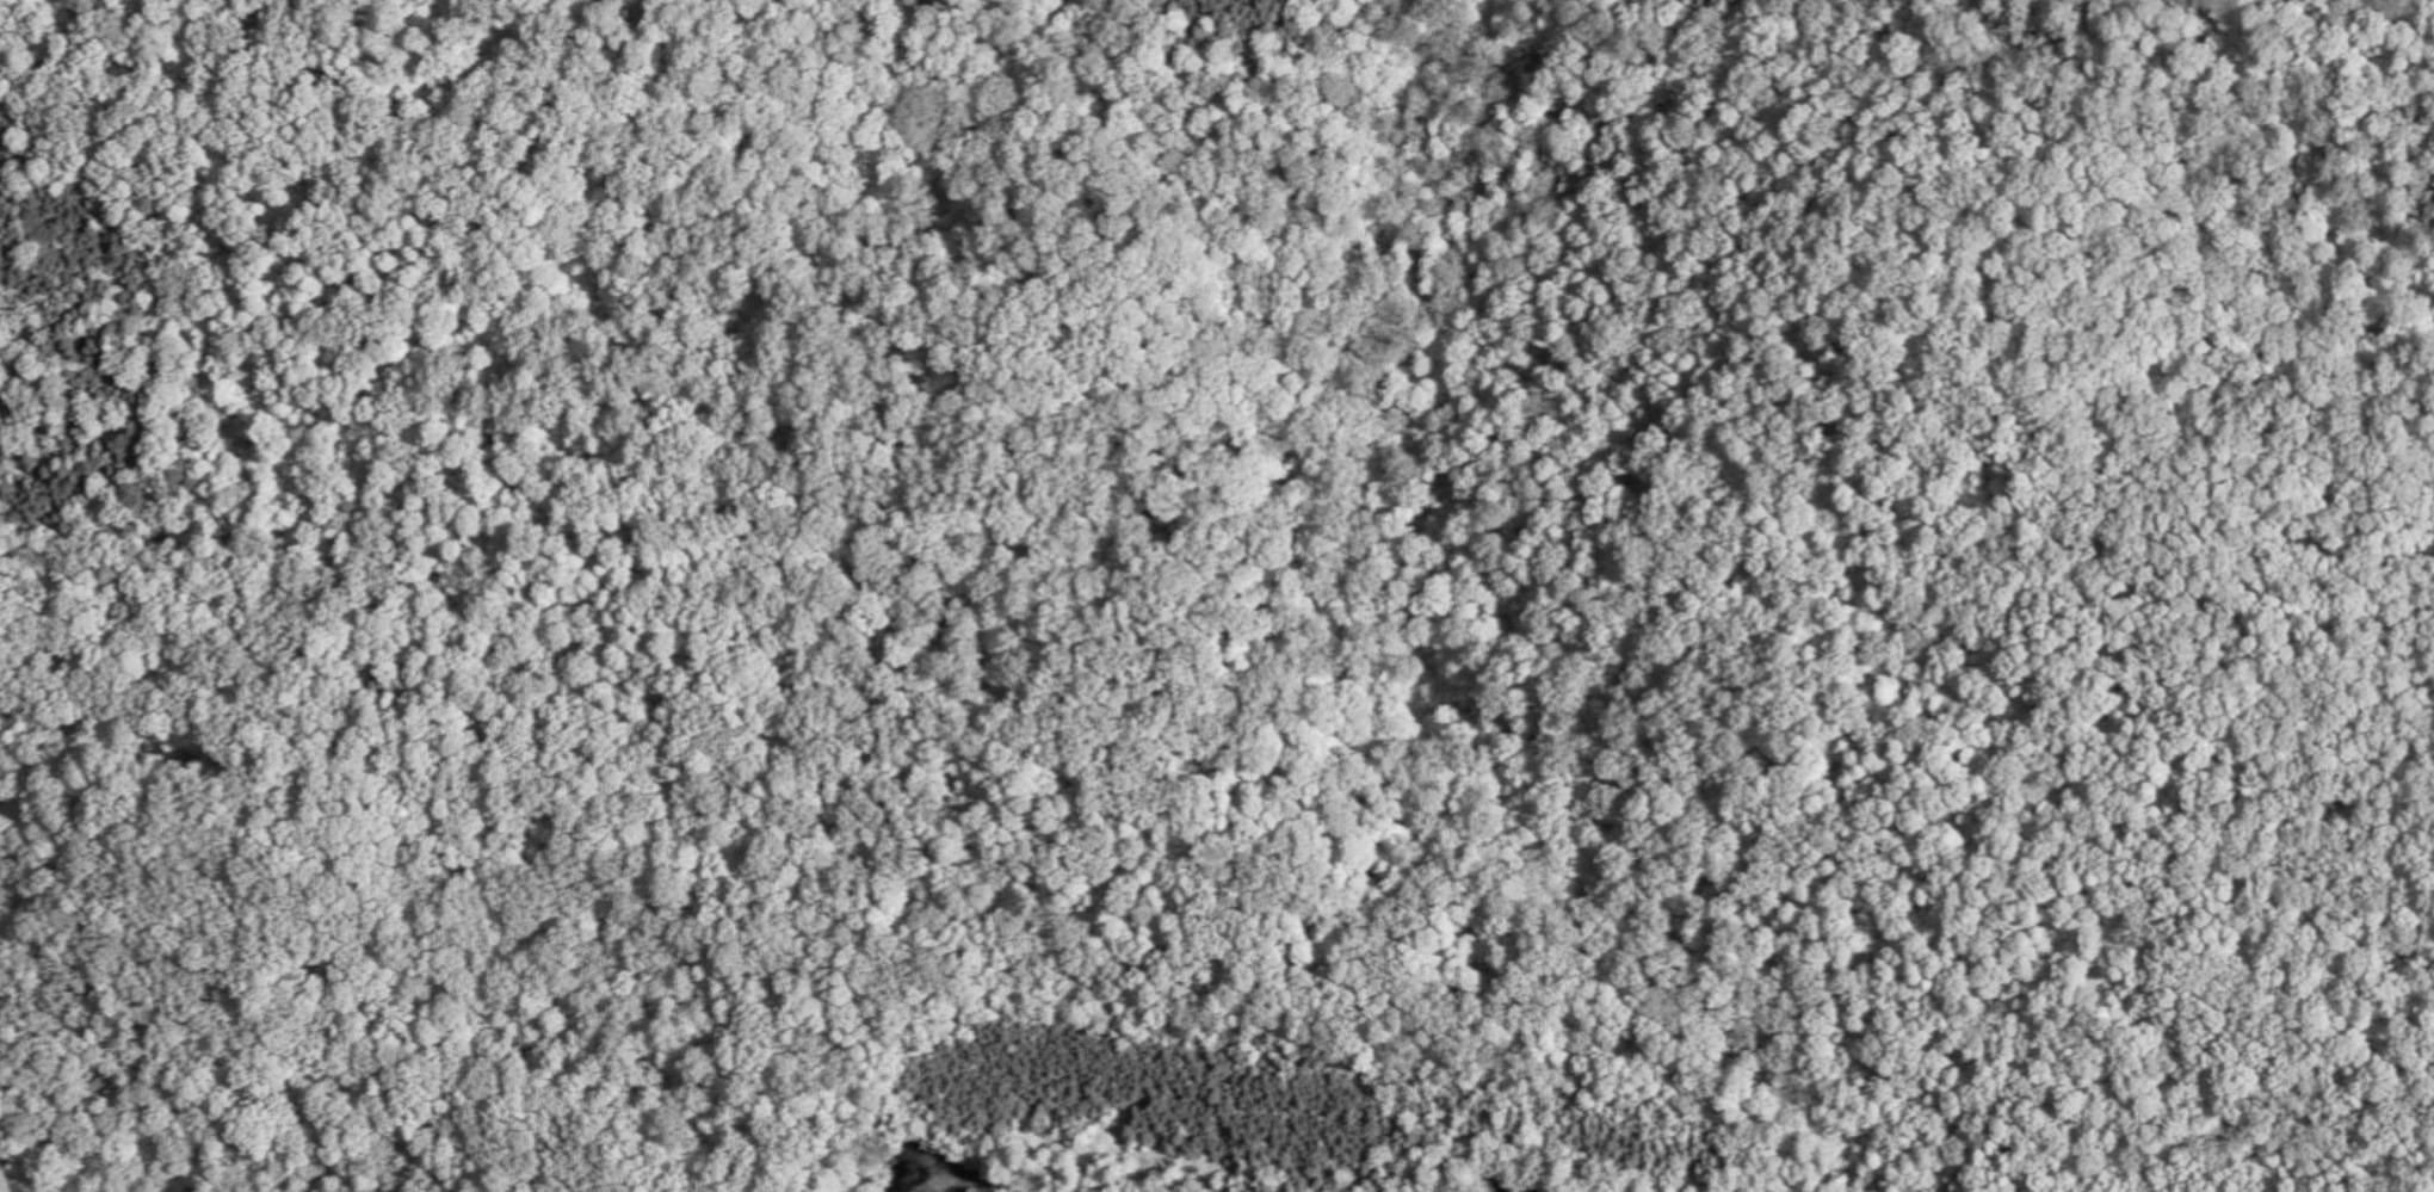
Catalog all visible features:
road: (872, 916)
road: (1364, 969)

